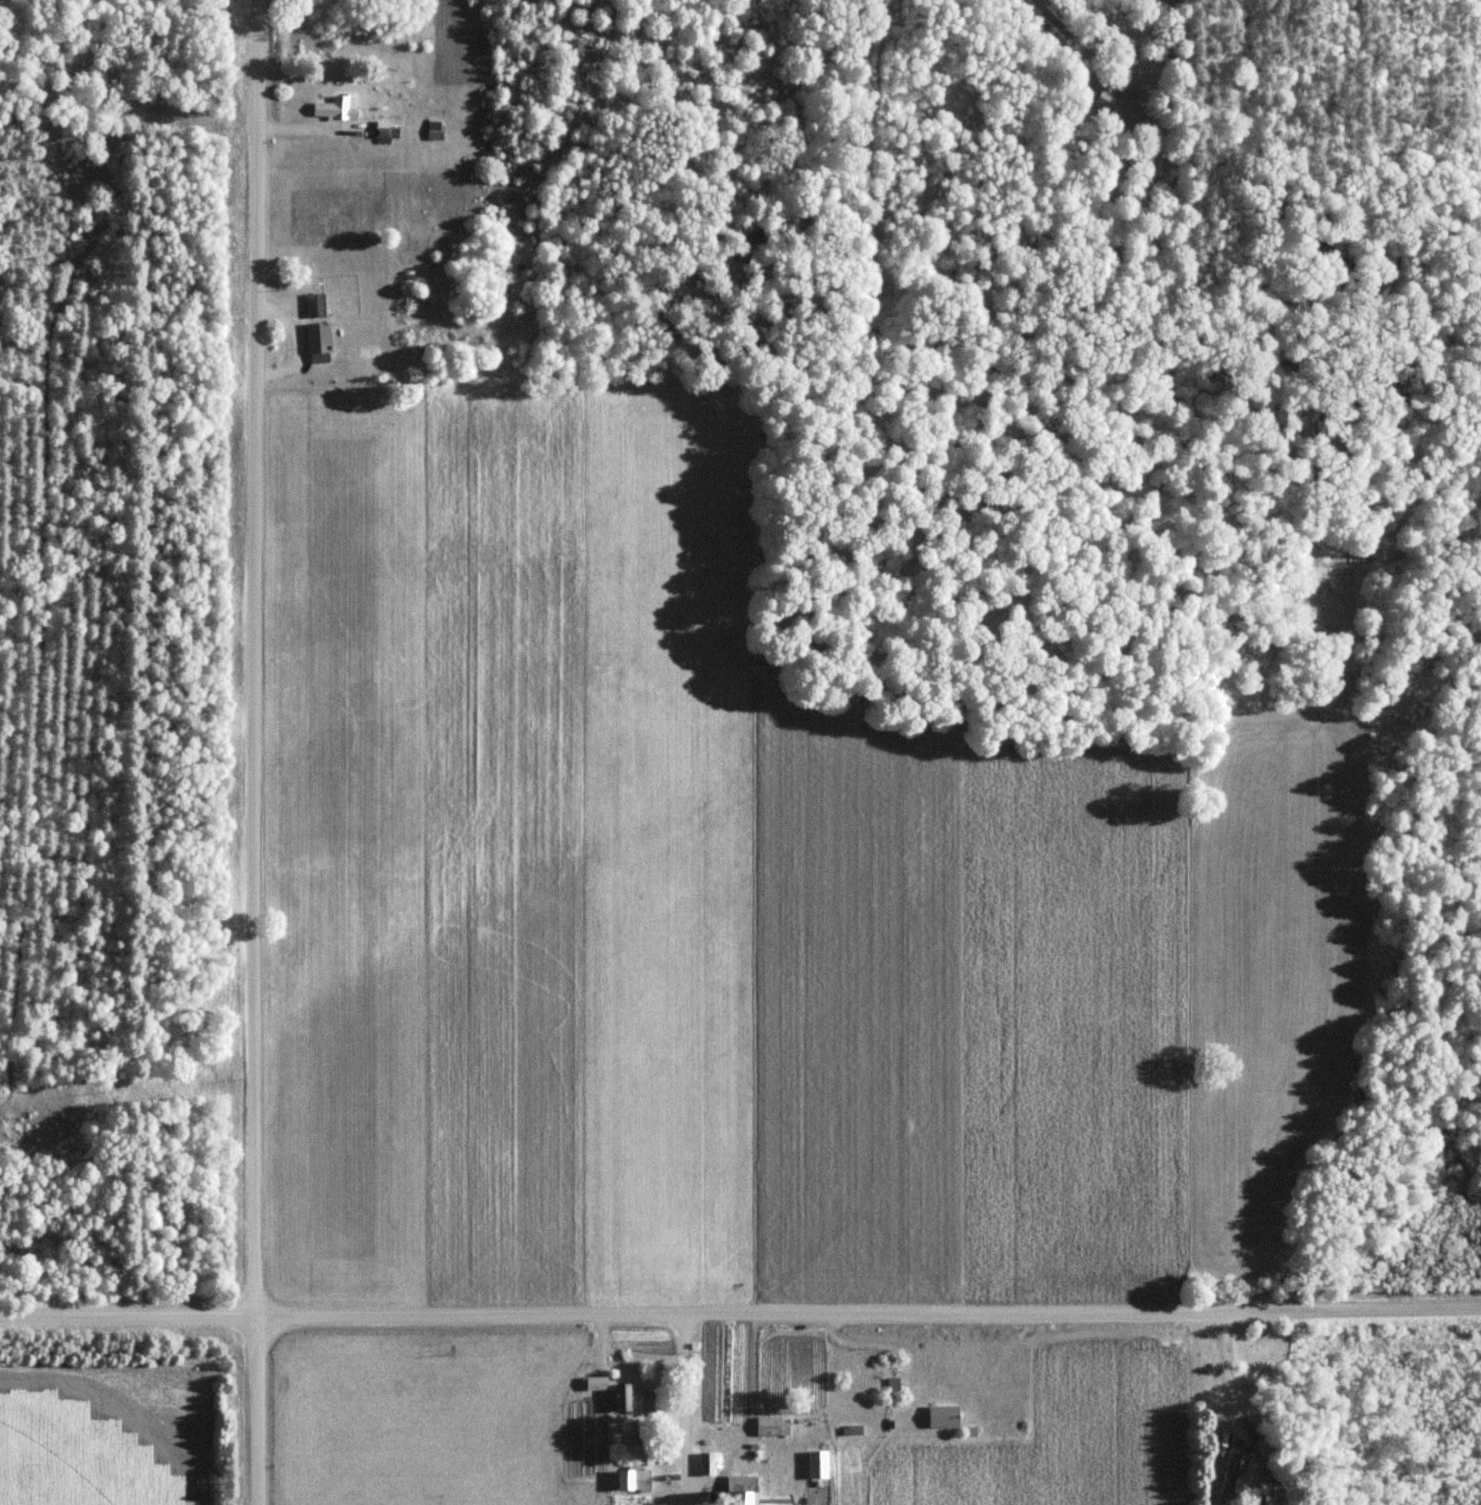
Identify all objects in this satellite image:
building: (1116, 104)
building: (334, 108)
building: (435, 130)
building: (387, 132)
building: (316, 305)
building: (319, 340)
road: (254, 752)
road: (740, 1307)
building: (797, 1386)
road: (681, 1394)
building: (628, 1398)
building: (943, 1416)
building: (772, 1426)
building: (709, 1463)
building: (818, 1464)
building: (1231, 1465)
building: (634, 1478)
building: (745, 1491)

